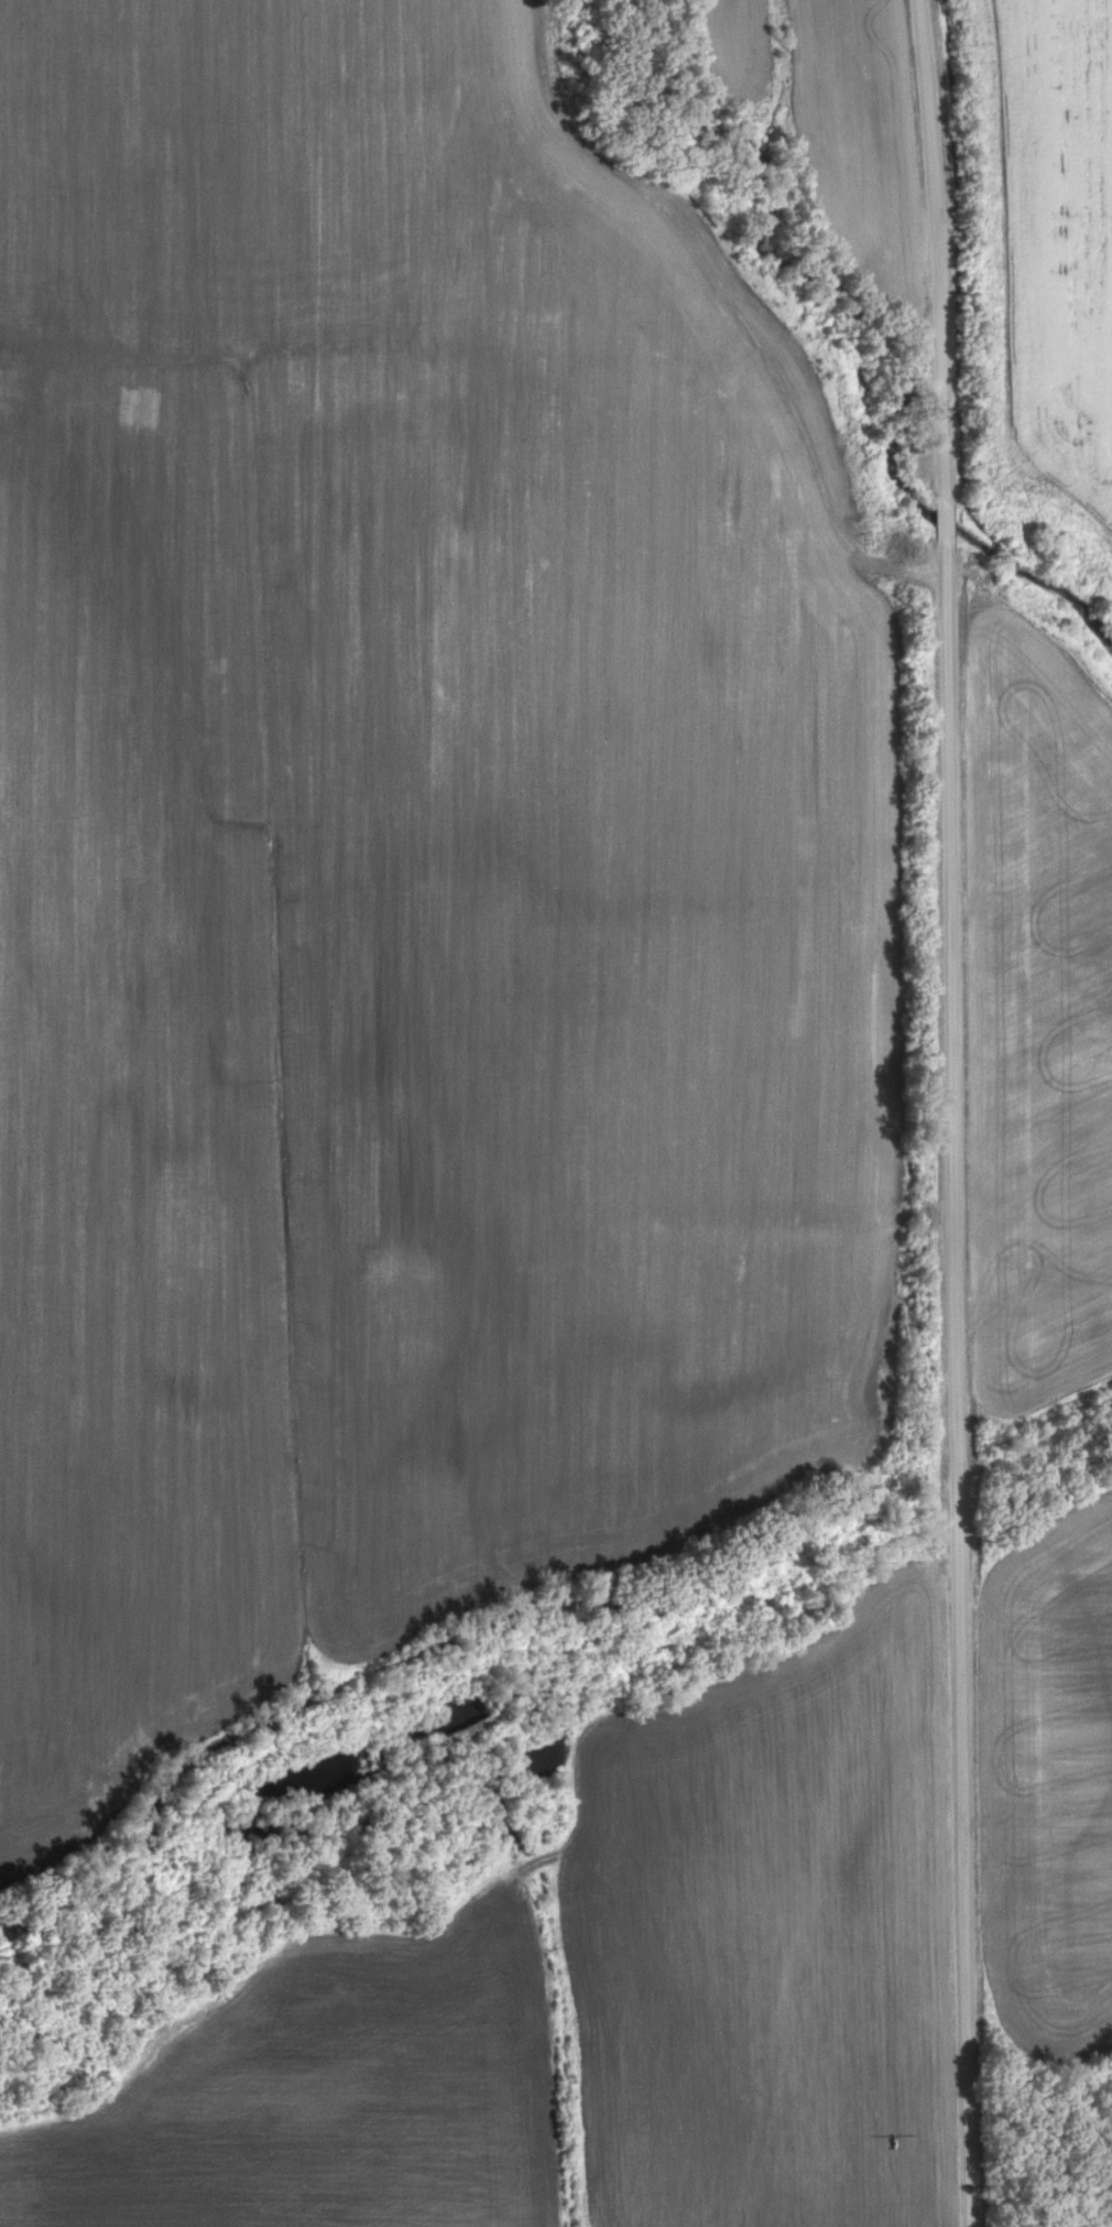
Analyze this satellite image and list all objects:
crop: (827, 118)
crop: (1057, 257)
crop: (401, 879)
crop: (1036, 1000)
road: (956, 1112)

